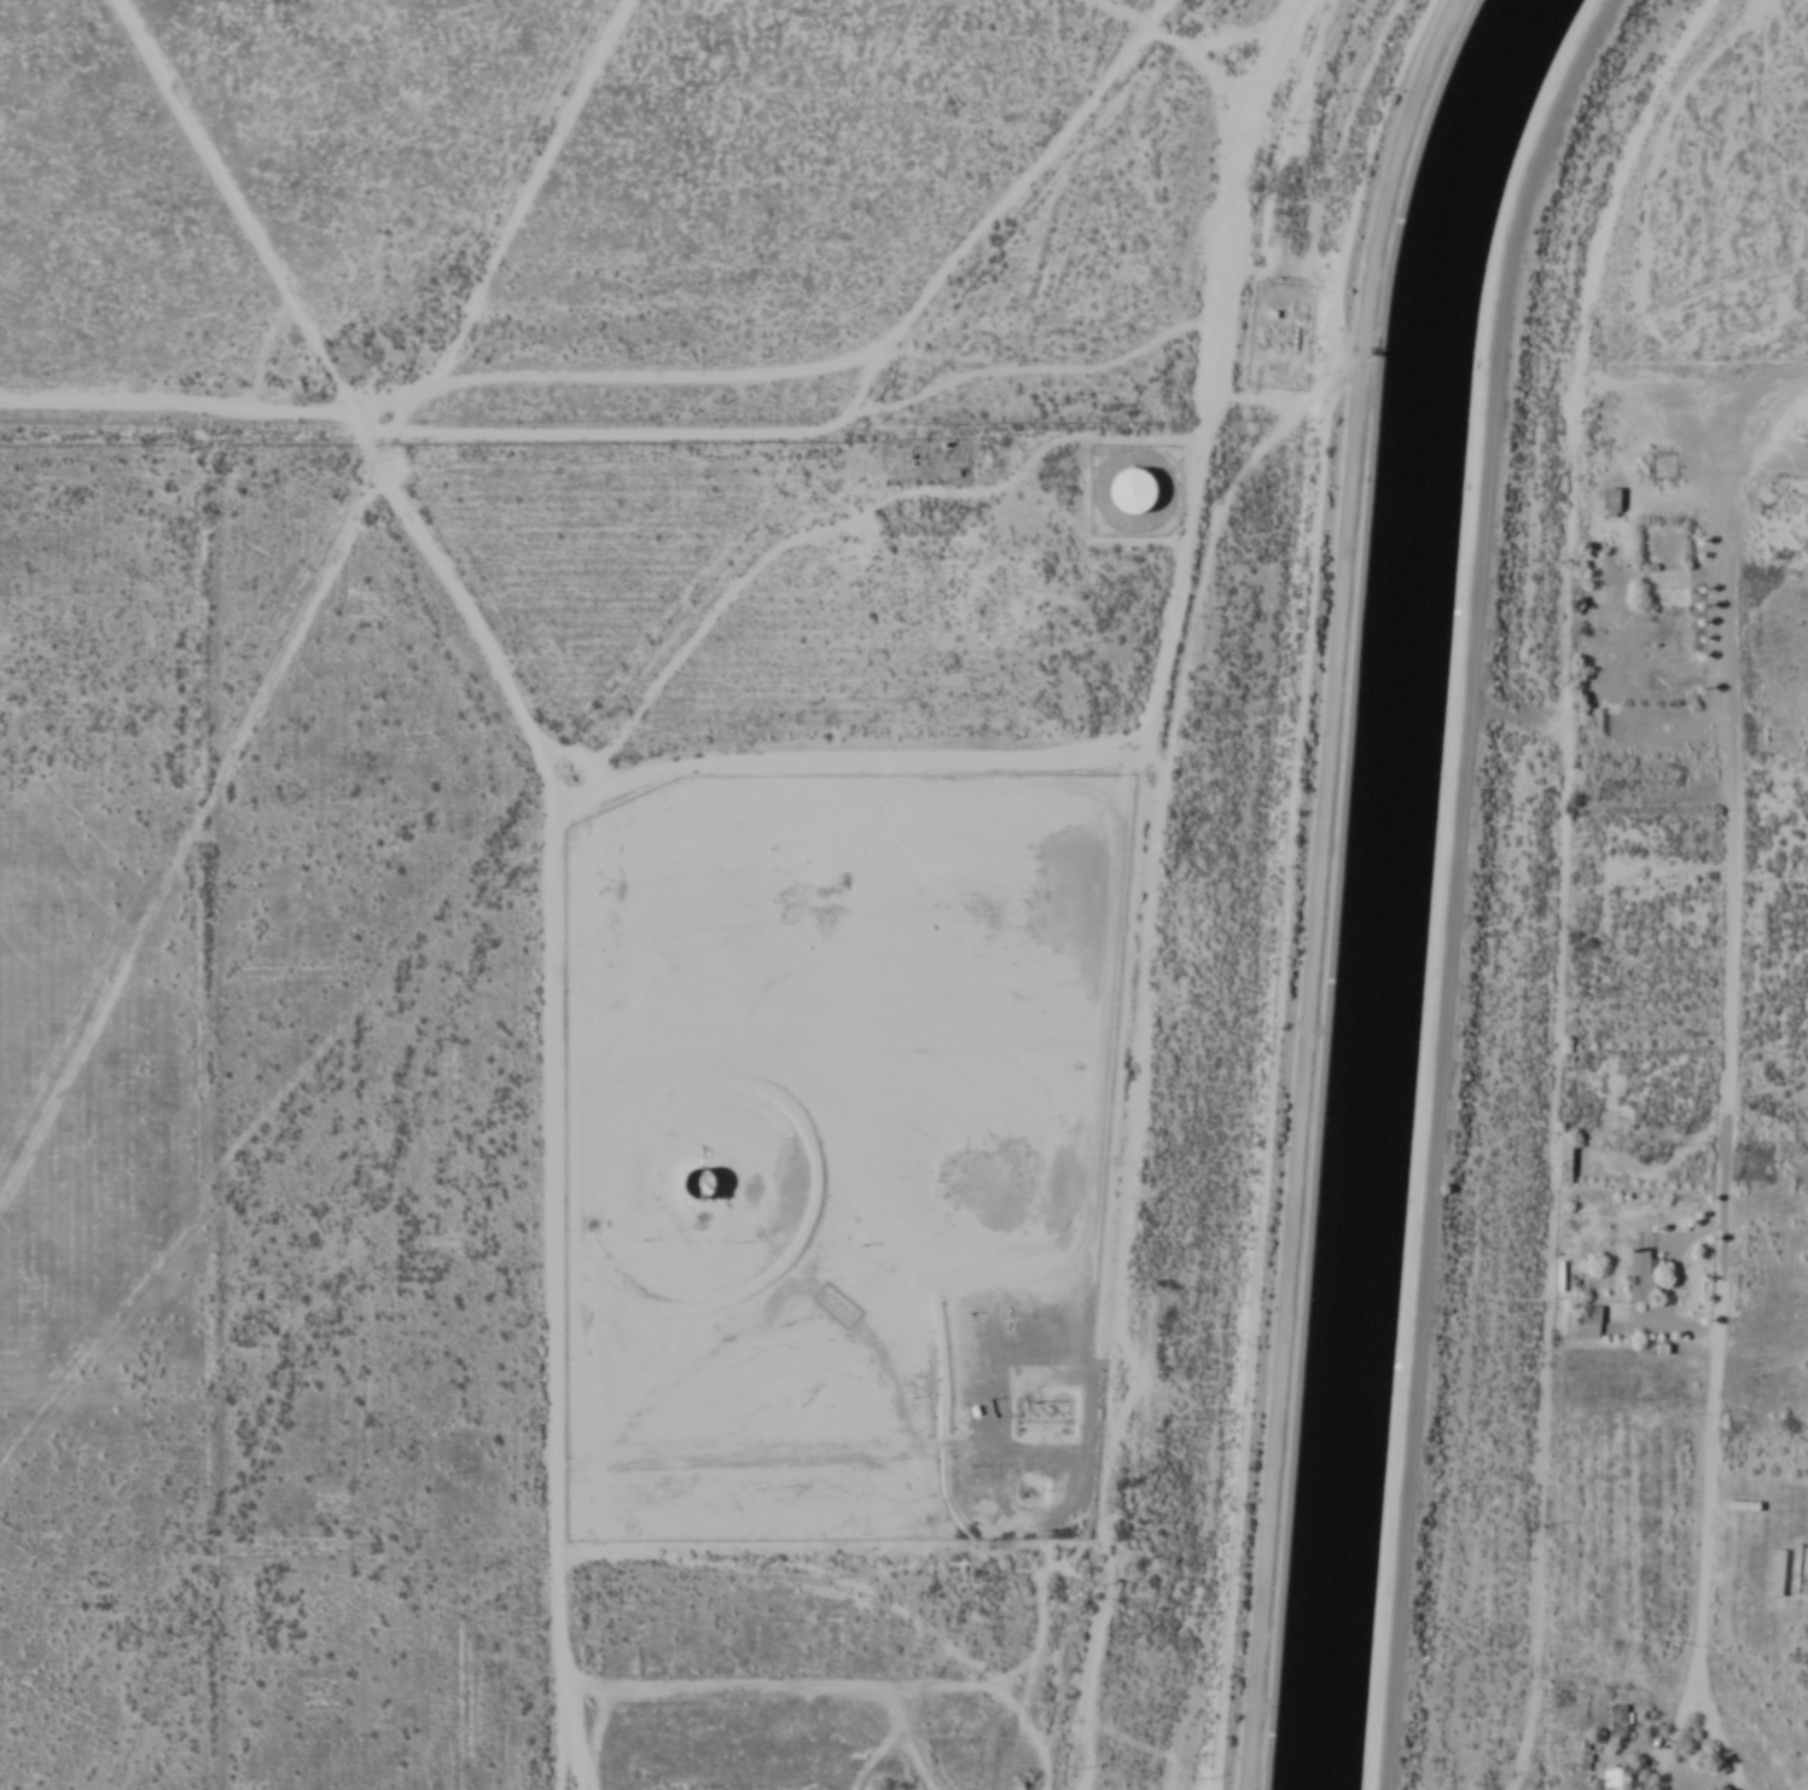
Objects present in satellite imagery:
road: (1019, 74)
building: (1135, 490)
building: (1614, 500)
road: (1167, 661)
road: (1457, 884)
road: (492, 887)
road: (1316, 888)
road: (1722, 1029)
building: (1564, 1160)
building: (709, 1185)
road: (1122, 1262)
building: (1641, 1275)
building: (1580, 1320)
road: (657, 1574)
road: (302, 1599)
road: (548, 1685)
road: (1709, 1709)
building: (1617, 1720)
building: (1614, 1779)

